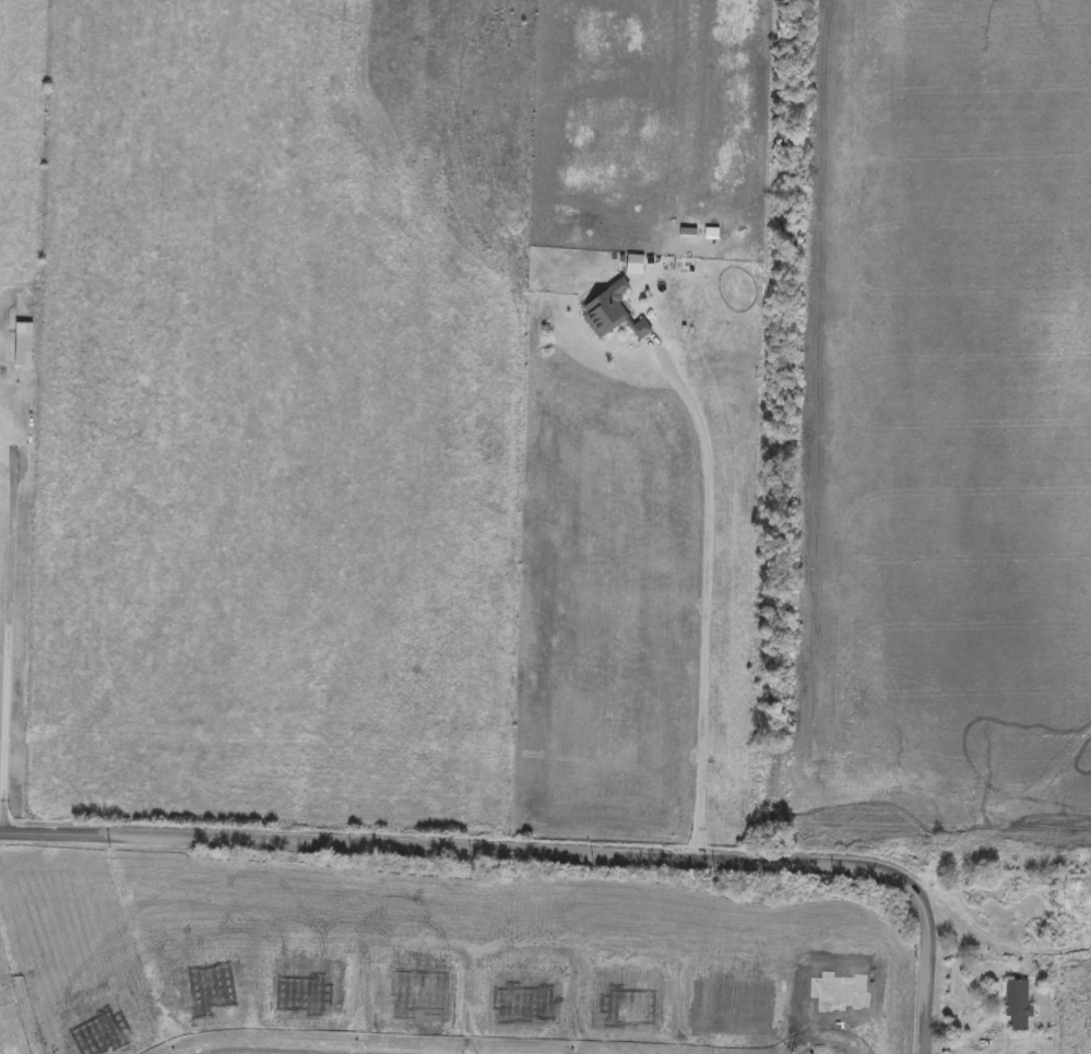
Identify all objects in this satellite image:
building: (603, 310)
building: (639, 330)
building: (21, 345)
road: (705, 606)
road: (10, 648)
road: (544, 852)
road: (997, 936)
building: (1016, 1007)

